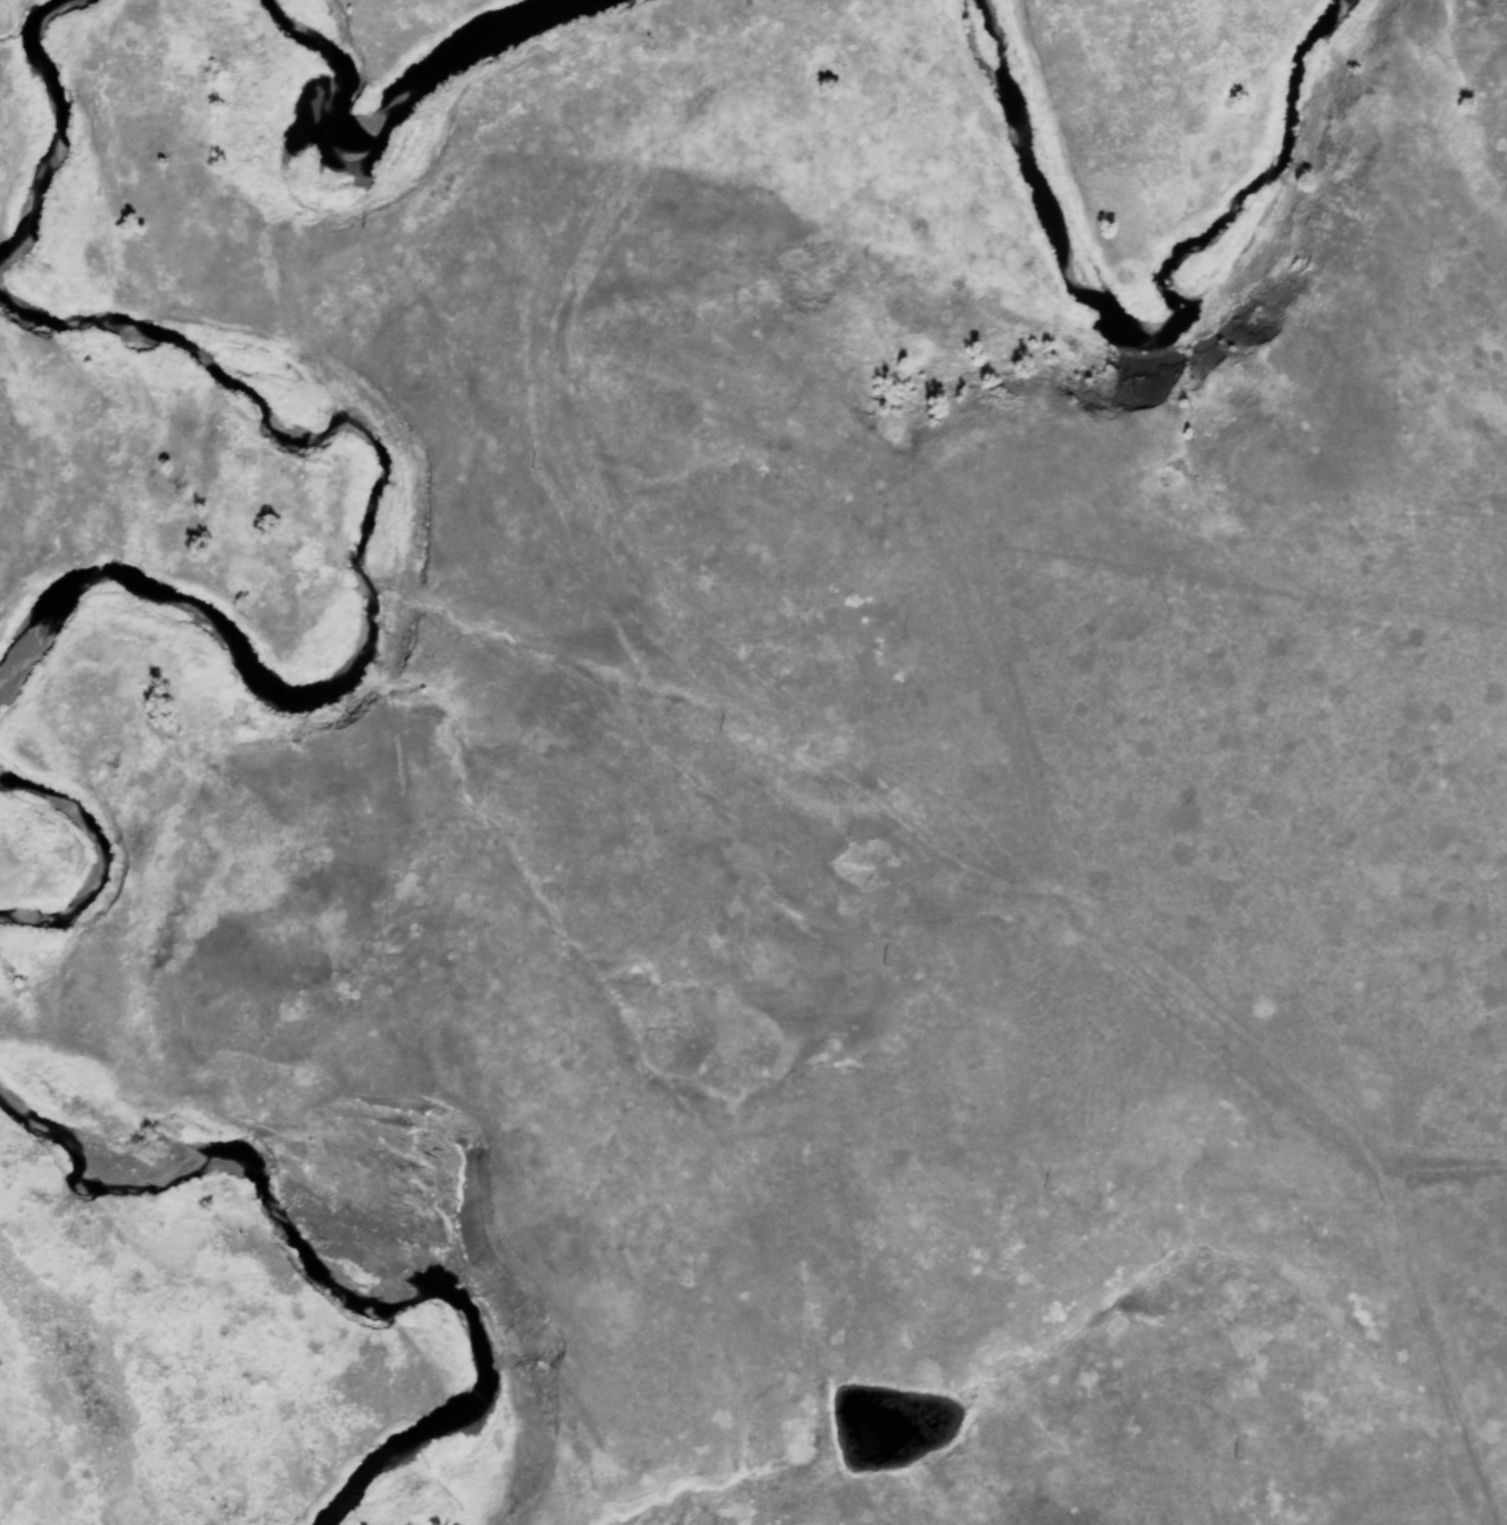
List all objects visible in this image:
road: (802, 670)

